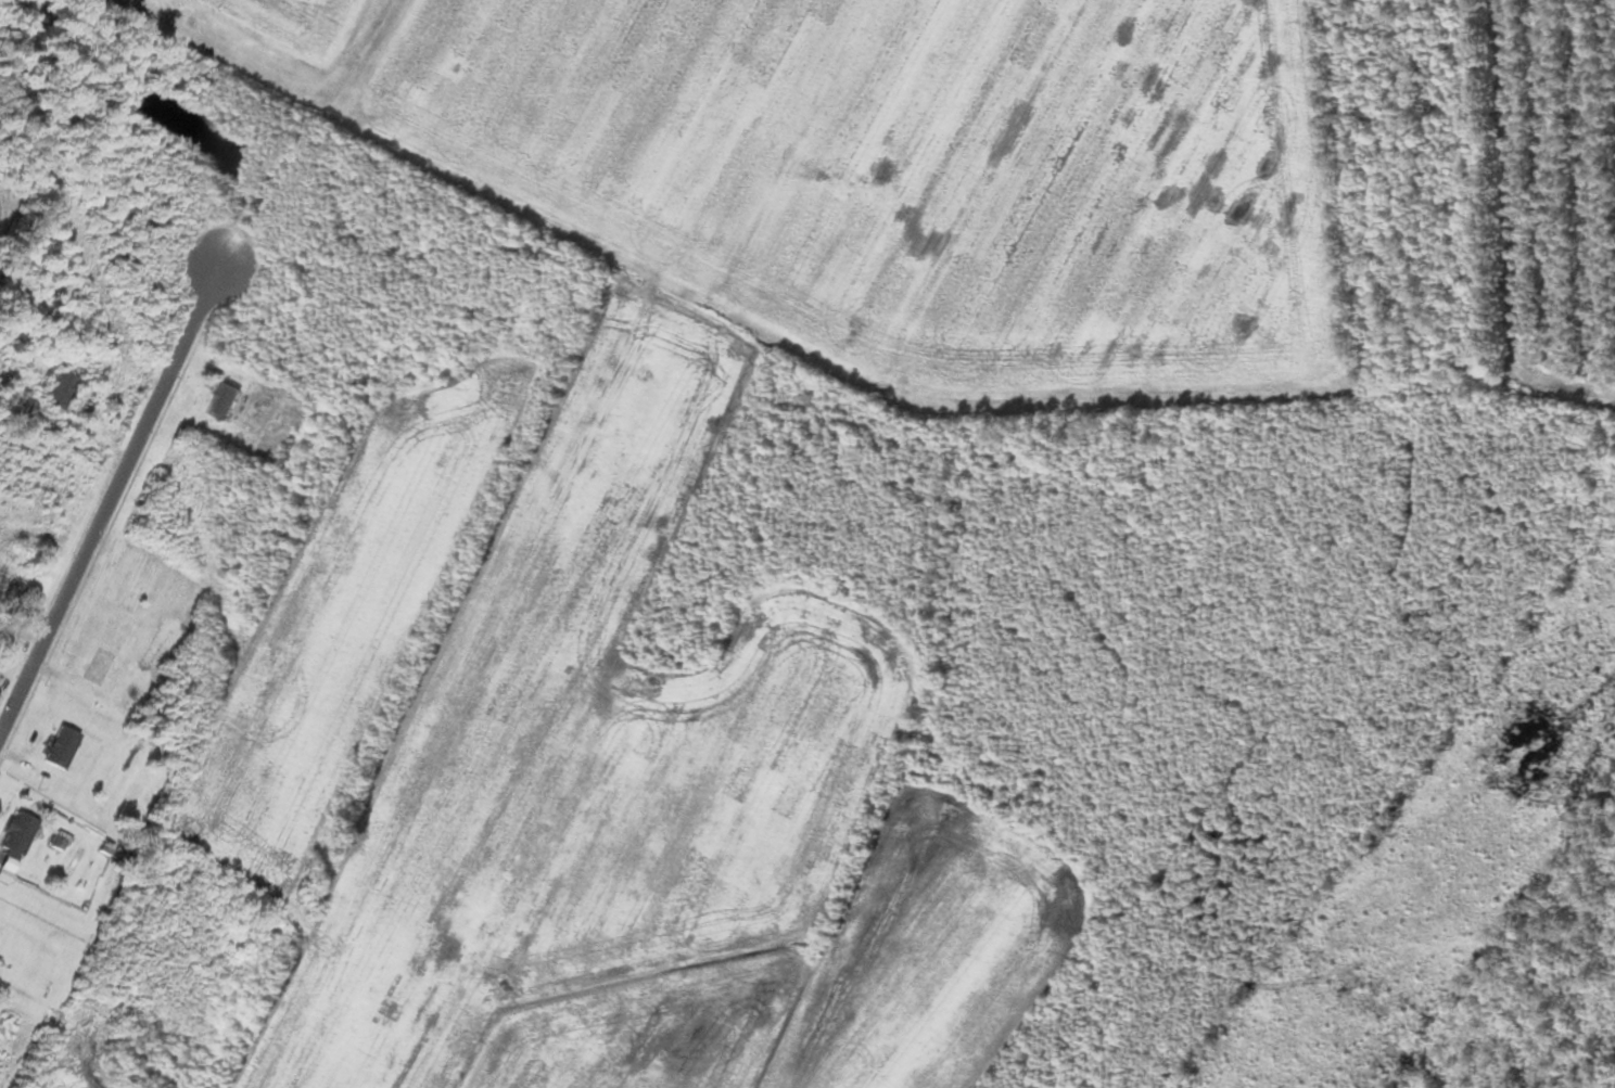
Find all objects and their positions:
building: (55, 388)
building: (21, 408)
road: (109, 491)
building: (9, 599)
building: (93, 667)
building: (56, 747)
building: (14, 833)

